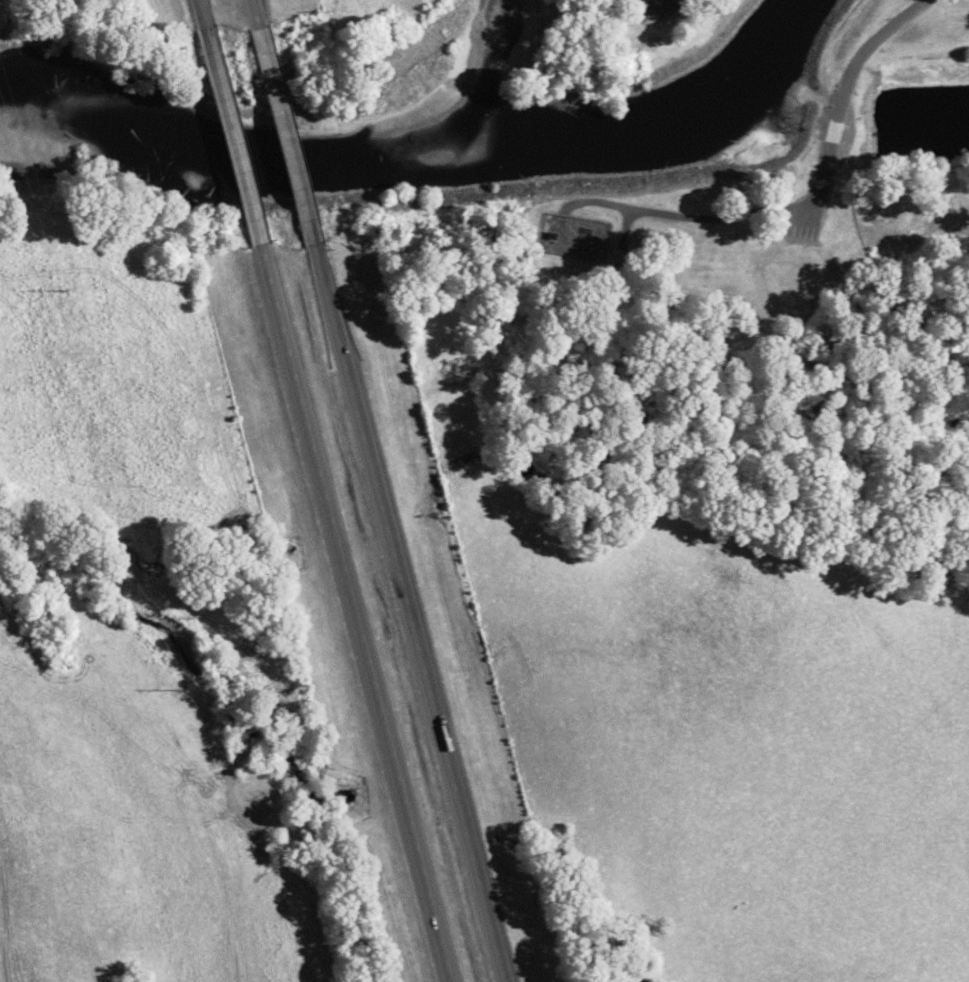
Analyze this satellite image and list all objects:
road: (201, 13)
road: (254, 13)
road: (847, 81)
road: (232, 135)
road: (285, 135)
river: (418, 144)
road: (689, 215)
road: (625, 226)
power tower: (60, 291)
road: (354, 612)
road: (407, 613)
power tower: (181, 686)

